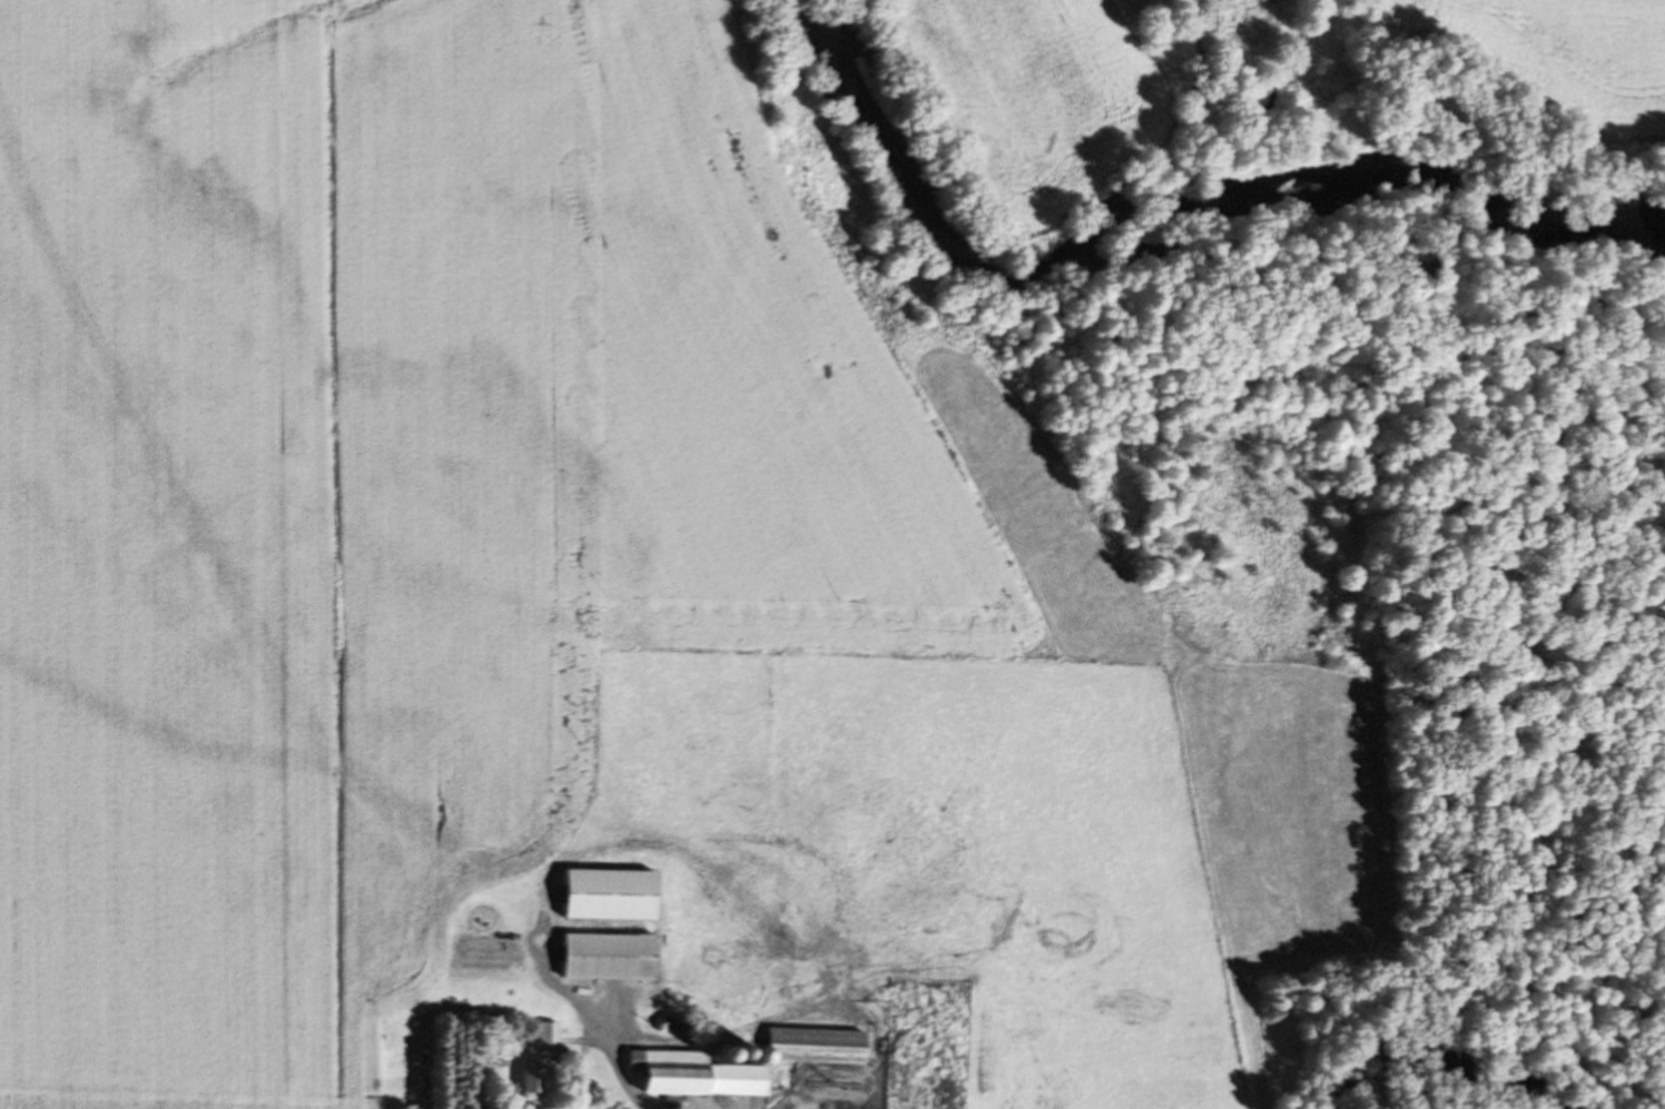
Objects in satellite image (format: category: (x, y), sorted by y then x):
building: (611, 894)
building: (483, 919)
building: (610, 957)
building: (818, 1046)
building: (543, 1063)
building: (702, 1075)

